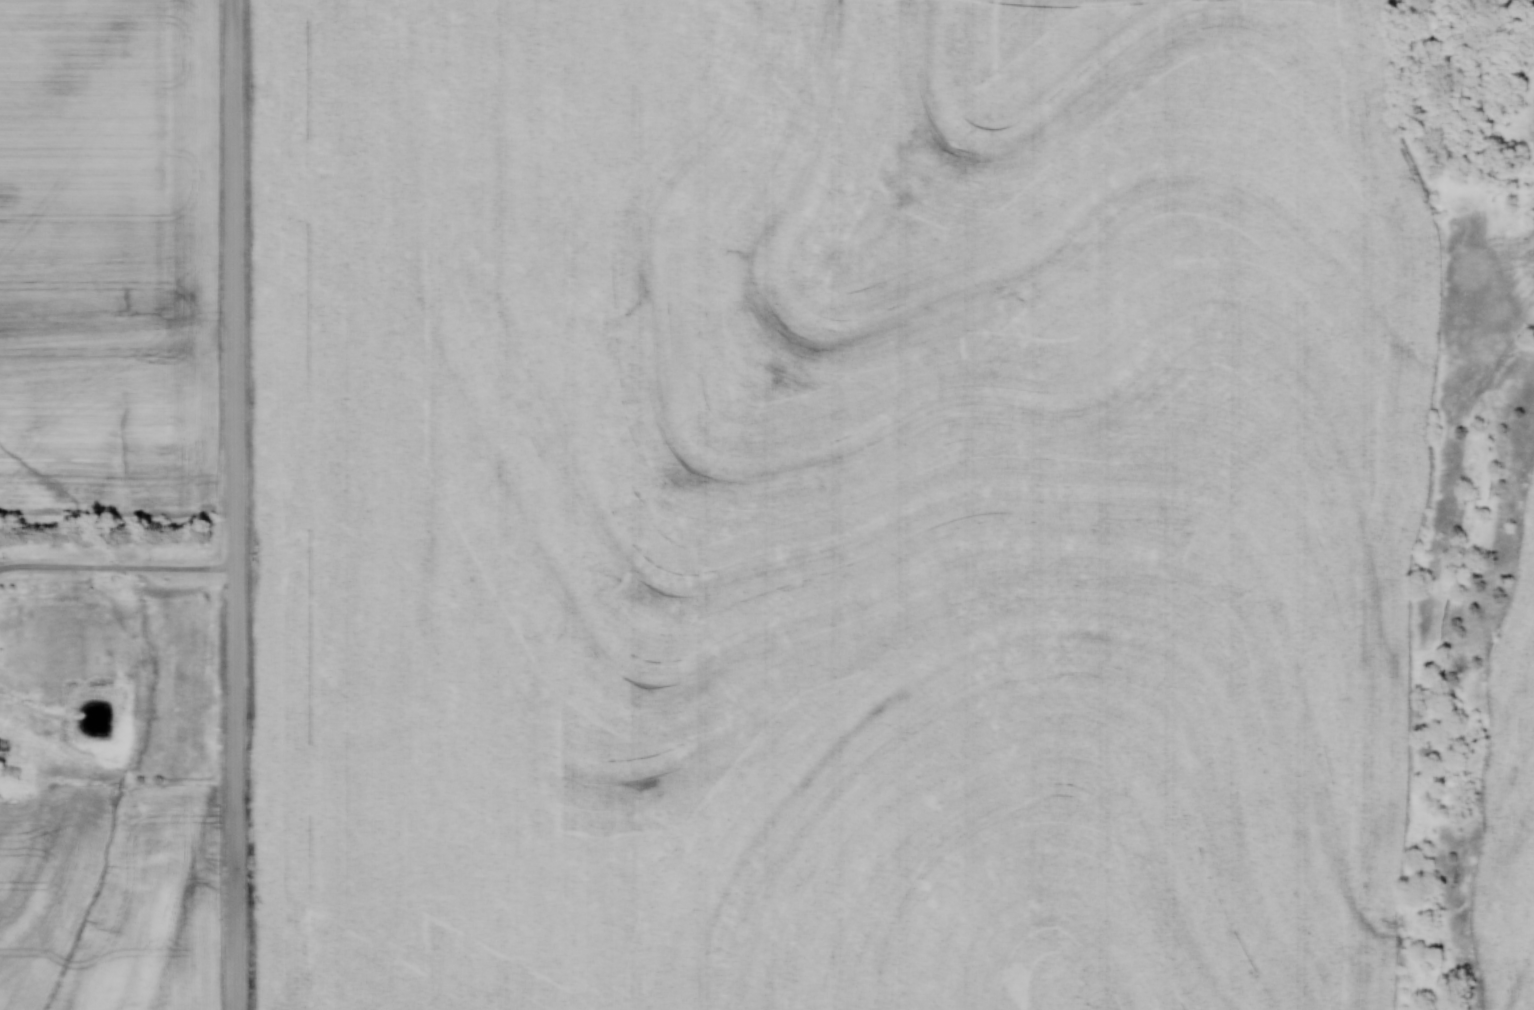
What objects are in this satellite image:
road: (240, 505)
road: (120, 570)
building: (1, 743)

